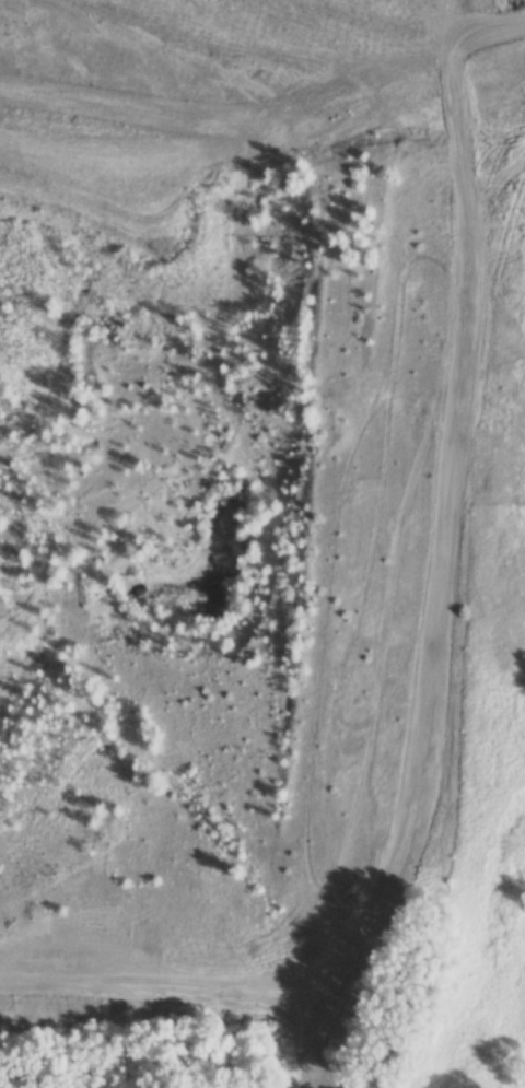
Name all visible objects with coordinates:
quarry: (162, 124)
road: (445, 607)
road: (112, 991)

